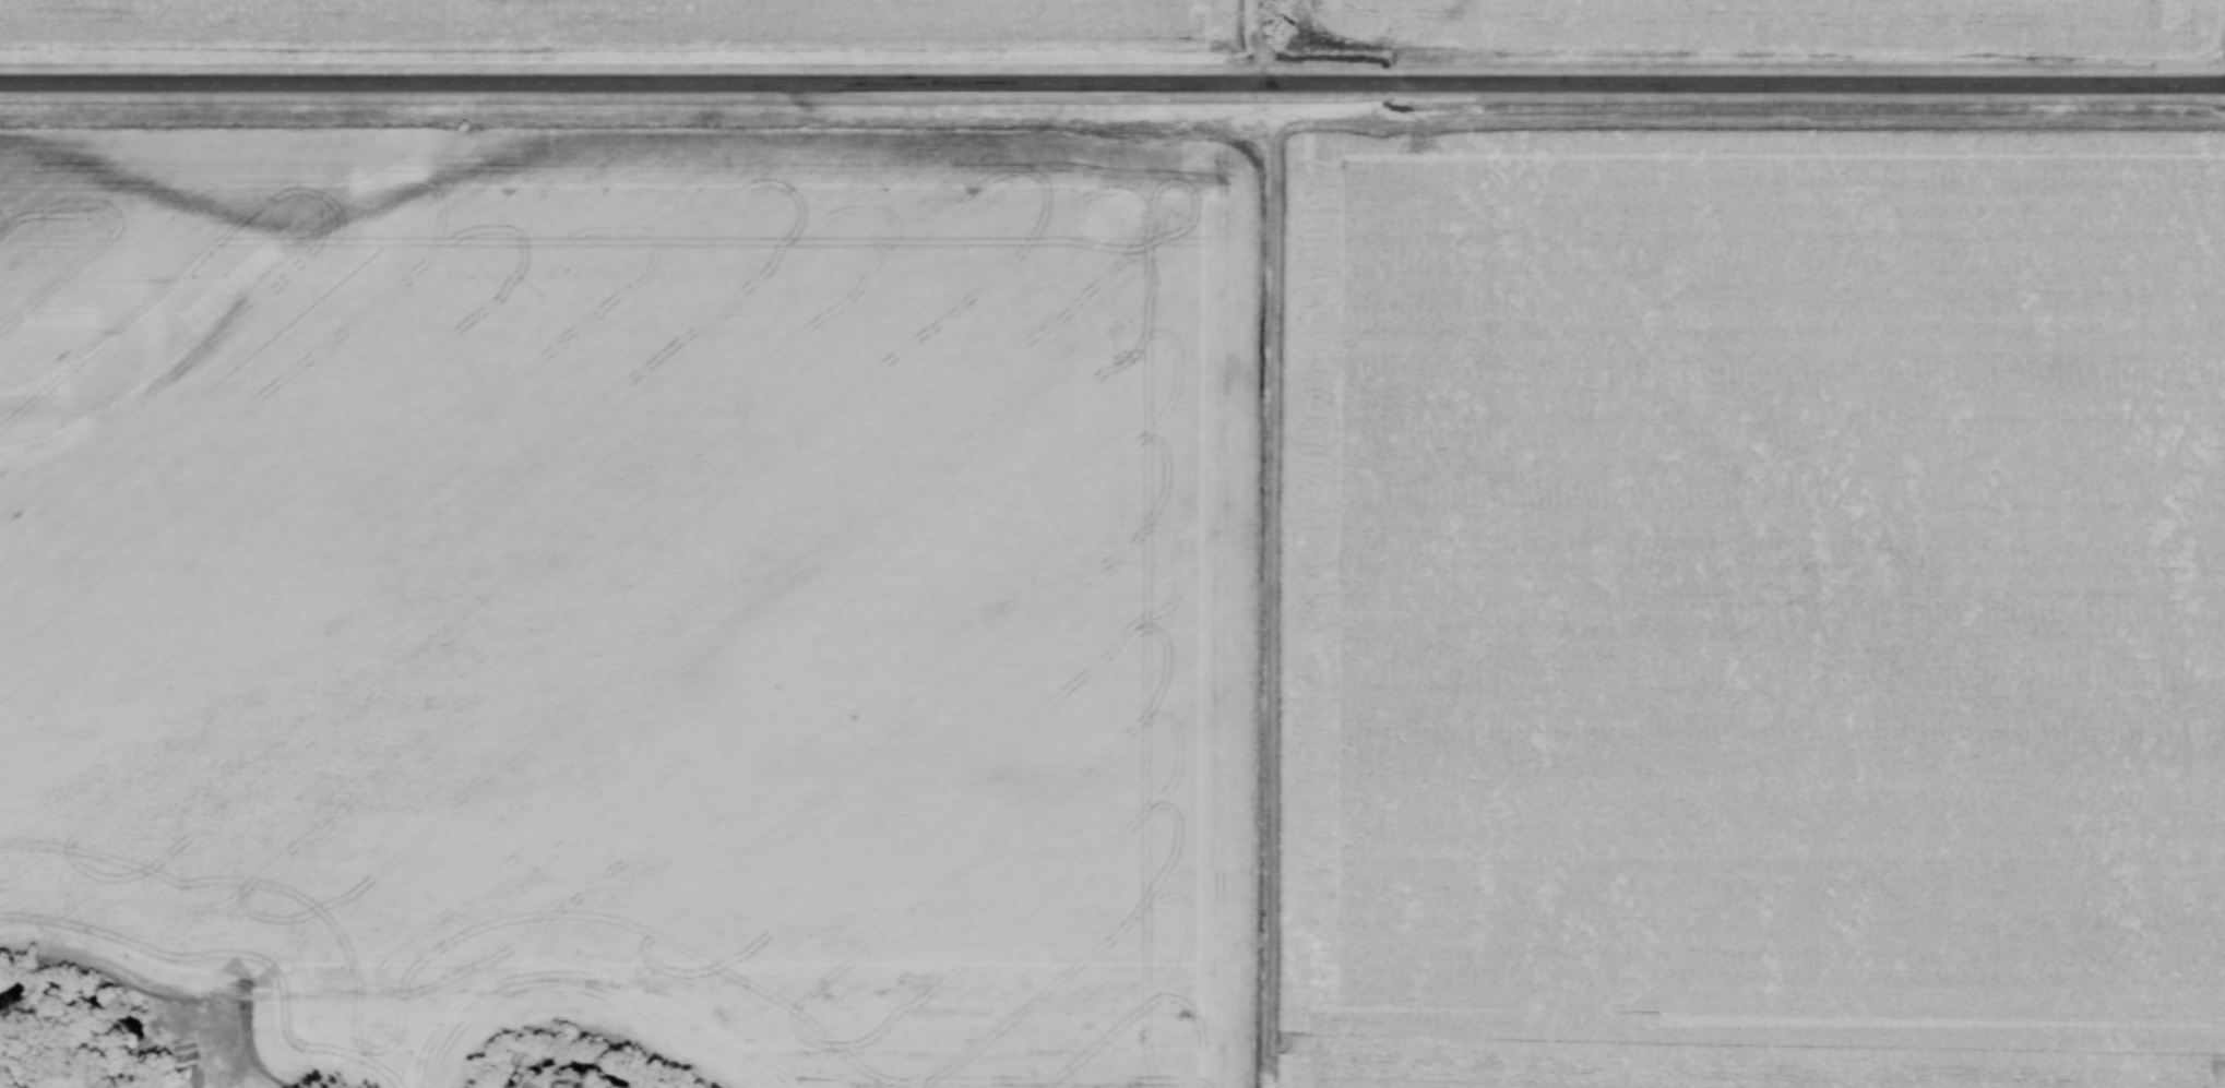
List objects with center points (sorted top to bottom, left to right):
road: (1112, 83)
river: (83, 1002)
river: (550, 1081)

